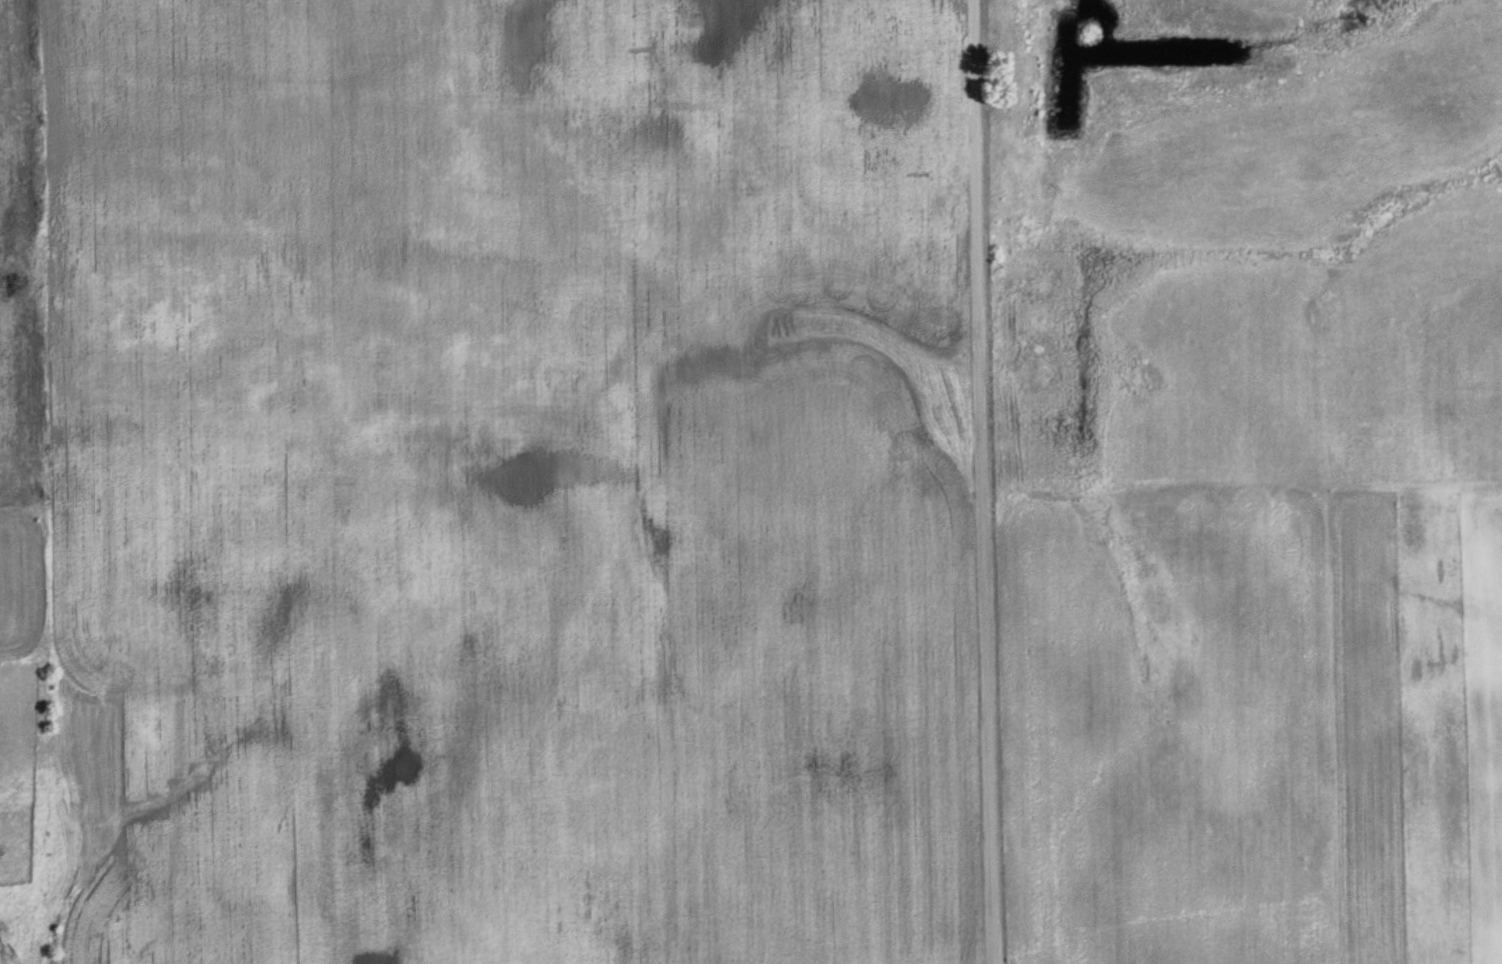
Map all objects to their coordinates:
road: (983, 482)

